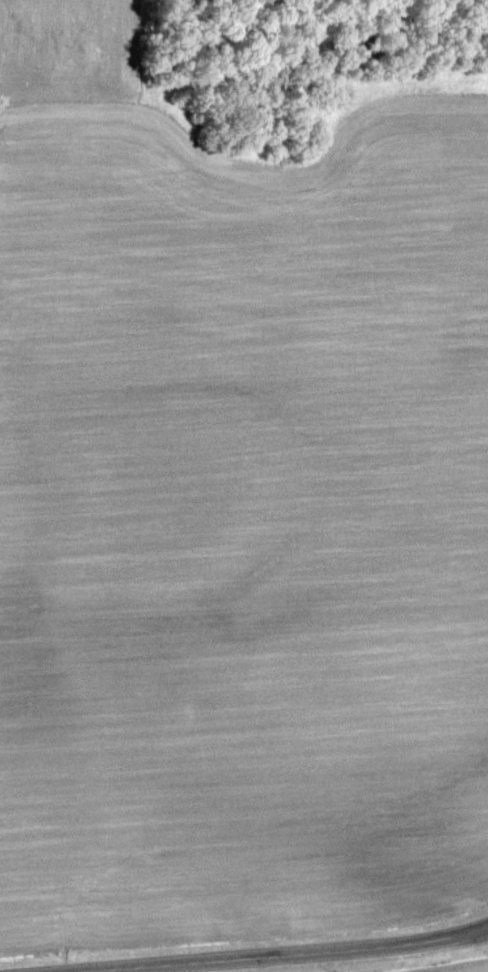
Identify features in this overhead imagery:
road: (289, 955)

